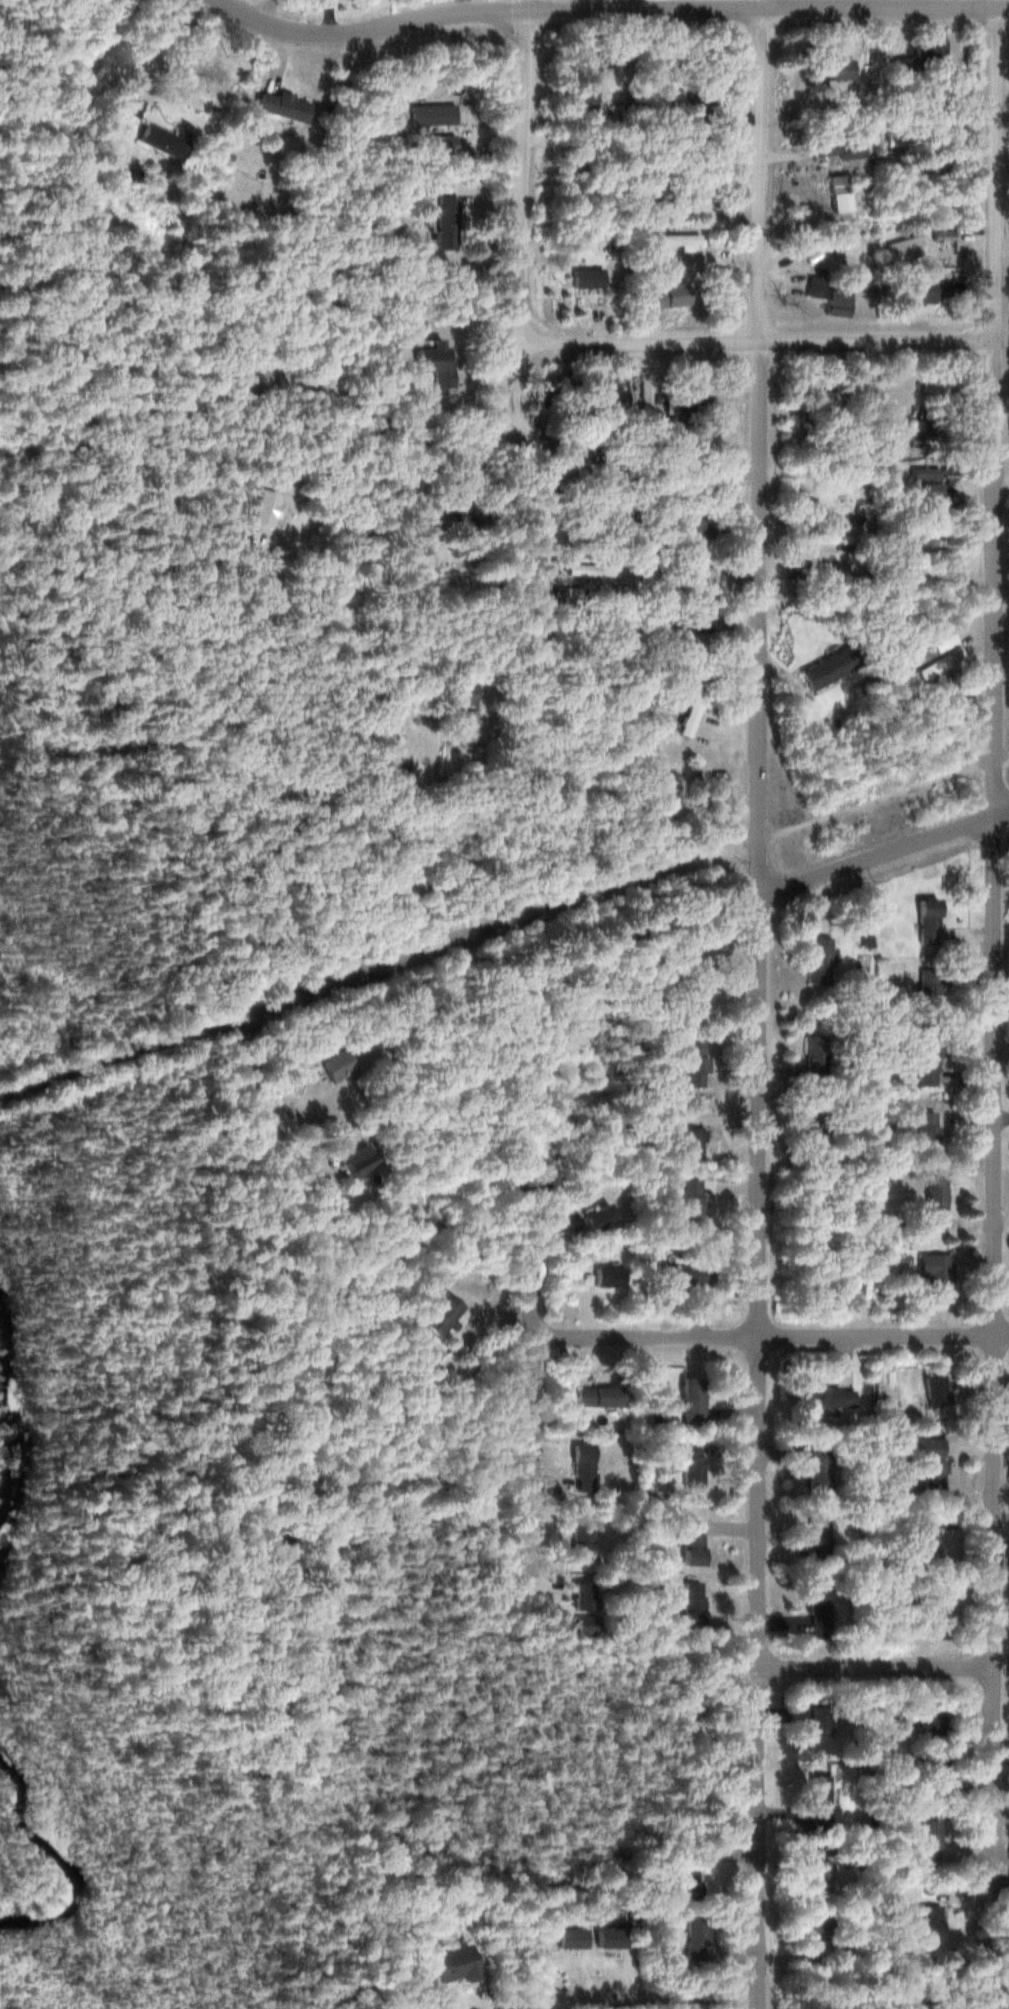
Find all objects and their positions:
road: (766, 8)
road: (367, 28)
building: (931, 61)
building: (827, 68)
building: (584, 90)
building: (279, 106)
building: (128, 107)
building: (696, 107)
building: (429, 114)
building: (691, 141)
building: (159, 142)
building: (903, 143)
building: (439, 144)
building: (838, 148)
road: (995, 168)
building: (933, 169)
road: (758, 170)
building: (841, 183)
building: (714, 214)
building: (442, 220)
building: (942, 235)
building: (675, 241)
building: (823, 245)
building: (902, 249)
building: (585, 278)
building: (814, 286)
building: (924, 288)
building: (652, 302)
building: (835, 303)
road: (759, 340)
road: (523, 351)
building: (435, 361)
building: (600, 398)
building: (829, 400)
building: (677, 414)
building: (926, 430)
building: (925, 472)
building: (466, 477)
building: (683, 477)
building: (592, 482)
building: (930, 491)
building: (259, 508)
building: (457, 510)
road: (395, 511)
building: (690, 521)
building: (908, 539)
building: (943, 562)
building: (589, 570)
building: (699, 579)
building: (821, 581)
building: (693, 621)
building: (928, 643)
building: (938, 663)
building: (827, 668)
building: (459, 691)
building: (691, 712)
building: (460, 725)
road: (884, 853)
building: (926, 922)
road: (502, 924)
building: (815, 961)
building: (926, 992)
building: (694, 995)
building: (813, 1053)
building: (926, 1063)
building: (689, 1064)
building: (335, 1066)
road: (995, 1103)
building: (926, 1134)
building: (811, 1138)
building: (688, 1142)
building: (350, 1162)
road: (758, 1174)
building: (688, 1203)
building: (933, 1204)
building: (594, 1218)
building: (679, 1276)
building: (932, 1277)
building: (601, 1278)
building: (438, 1315)
road: (771, 1336)
building: (931, 1390)
building: (595, 1396)
building: (828, 1396)
building: (690, 1403)
road: (532, 1413)
building: (922, 1447)
building: (689, 1466)
building: (578, 1467)
building: (817, 1467)
building: (929, 1473)
building: (816, 1536)
building: (926, 1537)
building: (688, 1542)
building: (579, 1544)
building: (579, 1595)
building: (690, 1604)
building: (814, 1605)
building: (927, 1613)
road: (875, 1666)
building: (928, 1724)
building: (815, 1736)
building: (929, 1768)
building: (816, 1798)
building: (928, 1841)
building: (814, 1875)
building: (687, 1881)
building: (931, 1917)
building: (815, 1931)
building: (691, 1937)
building: (568, 1938)
building: (606, 1938)
building: (449, 1964)
road: (652, 2000)

